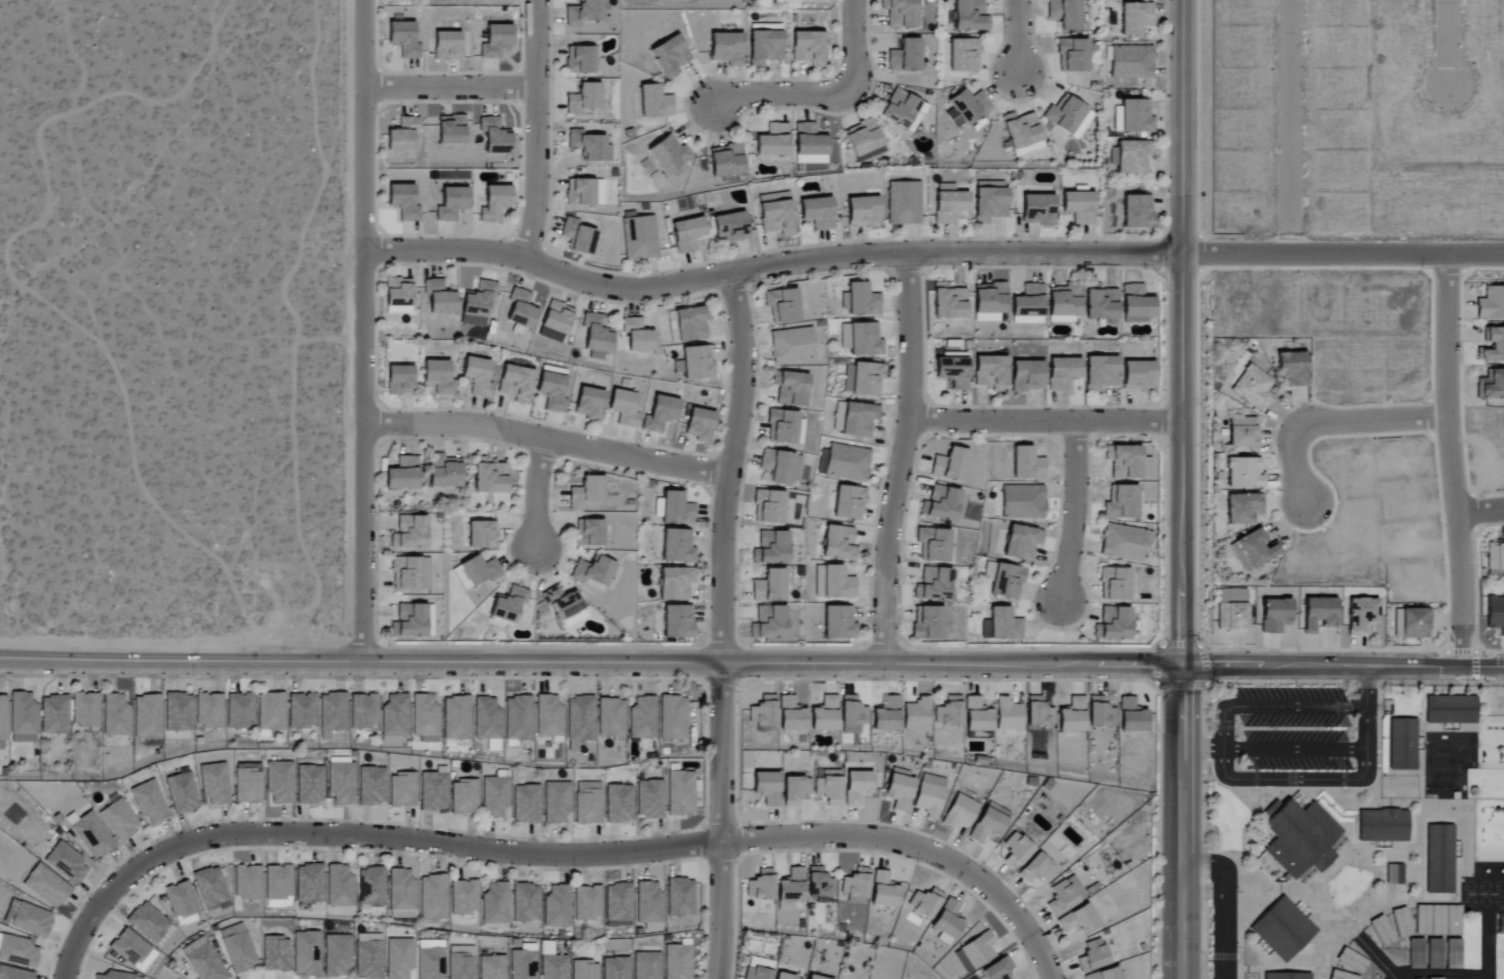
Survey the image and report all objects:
building: (583, 12)
building: (900, 13)
building: (1064, 13)
building: (969, 16)
building: (1134, 18)
road: (1019, 37)
building: (402, 39)
building: (495, 41)
road: (1449, 43)
building: (445, 46)
building: (764, 46)
building: (808, 48)
building: (726, 49)
building: (1072, 56)
building: (669, 57)
building: (904, 57)
building: (579, 60)
building: (1130, 62)
road: (450, 88)
road: (827, 94)
building: (583, 99)
building: (654, 103)
building: (969, 106)
building: (902, 111)
building: (1067, 117)
building: (1135, 117)
building: (954, 119)
road: (1291, 127)
building: (450, 130)
road: (537, 130)
building: (1022, 134)
building: (402, 136)
building: (494, 136)
building: (862, 138)
building: (772, 141)
building: (809, 145)
building: (588, 146)
building: (668, 154)
building: (1130, 157)
building: (725, 161)
building: (583, 192)
building: (989, 201)
building: (402, 202)
building: (493, 203)
building: (451, 204)
building: (903, 204)
building: (948, 204)
building: (1078, 207)
building: (1037, 210)
building: (862, 212)
building: (1137, 212)
building: (817, 213)
building: (776, 214)
building: (729, 228)
building: (686, 235)
building: (577, 237)
building: (638, 238)
road: (1342, 254)
road: (769, 265)
building: (398, 296)
building: (438, 298)
building: (859, 301)
building: (948, 302)
building: (989, 302)
building: (1065, 303)
building: (1491, 304)
building: (476, 305)
building: (1136, 305)
building: (782, 306)
building: (1028, 306)
building: (1101, 306)
building: (520, 309)
building: (556, 321)
building: (690, 325)
road: (365, 330)
road: (1181, 333)
building: (637, 336)
building: (596, 337)
building: (861, 340)
building: (791, 346)
building: (1493, 347)
building: (695, 363)
building: (1293, 369)
building: (952, 371)
building: (990, 373)
building: (1062, 373)
building: (1100, 373)
building: (1027, 376)
building: (437, 377)
building: (476, 377)
building: (1139, 377)
building: (399, 380)
building: (862, 380)
building: (515, 384)
building: (1491, 386)
building: (1255, 388)
building: (552, 389)
building: (790, 389)
building: (588, 404)
building: (623, 408)
building: (660, 414)
building: (853, 419)
road: (1334, 421)
road: (1045, 422)
building: (699, 425)
building: (784, 428)
building: (1243, 433)
road: (549, 440)
road: (901, 458)
road: (1451, 460)
building: (1123, 462)
building: (846, 463)
building: (1027, 465)
road: (733, 466)
building: (949, 466)
building: (780, 467)
building: (443, 472)
building: (1244, 473)
building: (402, 475)
building: (488, 477)
building: (586, 492)
road: (533, 494)
building: (1022, 502)
building: (1121, 503)
building: (848, 504)
building: (940, 504)
building: (768, 508)
building: (1243, 509)
building: (676, 510)
road: (1480, 511)
road: (1074, 513)
building: (587, 533)
building: (409, 534)
building: (481, 536)
building: (1021, 543)
building: (1123, 544)
building: (838, 545)
building: (933, 546)
building: (677, 547)
building: (1256, 548)
building: (771, 550)
building: (1495, 557)
building: (593, 571)
building: (477, 572)
building: (409, 574)
building: (1004, 581)
building: (675, 584)
building: (837, 584)
building: (1114, 585)
building: (933, 586)
building: (769, 587)
building: (508, 606)
building: (565, 607)
building: (1318, 614)
building: (1495, 614)
building: (1274, 616)
building: (1361, 616)
building: (1232, 618)
building: (409, 622)
building: (677, 623)
building: (768, 624)
building: (838, 624)
building: (927, 624)
building: (1397, 624)
building: (1415, 624)
building: (1113, 625)
building: (1001, 626)
road: (1476, 647)
road: (1320, 649)
road: (1159, 652)
road: (590, 661)
road: (1342, 667)
road: (1340, 681)
road: (1291, 706)
building: (84, 710)
building: (208, 710)
building: (301, 710)
building: (239, 711)
building: (363, 711)
building: (762, 711)
building: (949, 711)
building: (1449, 711)
building: (177, 712)
building: (332, 712)
building: (1038, 712)
building: (1100, 712)
building: (270, 713)
building: (824, 714)
building: (852, 714)
building: (917, 714)
building: (1008, 714)
building: (53, 715)
building: (115, 715)
building: (791, 715)
building: (886, 715)
building: (977, 715)
building: (1072, 715)
building: (147, 716)
building: (1131, 716)
building: (611, 717)
building: (673, 717)
building: (22, 718)
building: (424, 718)
building: (456, 718)
building: (518, 718)
building: (549, 718)
building: (579, 718)
building: (642, 718)
building: (487, 721)
building: (2, 723)
building: (1403, 744)
road: (1201, 749)
road: (1294, 749)
road: (1336, 778)
building: (340, 780)
building: (278, 782)
building: (213, 783)
building: (309, 784)
building: (247, 785)
building: (371, 786)
building: (766, 787)
building: (828, 787)
building: (856, 787)
building: (899, 789)
building: (401, 790)
building: (432, 790)
building: (794, 790)
building: (180, 792)
building: (680, 793)
building: (929, 795)
building: (464, 797)
building: (494, 797)
building: (649, 799)
building: (148, 801)
building: (556, 803)
building: (587, 803)
building: (618, 803)
building: (525, 804)
building: (959, 812)
building: (118, 820)
road: (720, 821)
road: (1180, 822)
building: (986, 825)
building: (1382, 826)
road: (357, 833)
building: (90, 835)
building: (1295, 840)
building: (1336, 844)
road: (913, 847)
building: (1015, 850)
building: (1440, 857)
building: (65, 862)
building: (1036, 870)
building: (1394, 874)
building: (246, 882)
building: (308, 883)
building: (819, 883)
building: (277, 885)
building: (760, 885)
building: (45, 886)
building: (339, 886)
building: (371, 886)
building: (856, 886)
building: (209, 887)
building: (401, 890)
building: (883, 890)
building: (1064, 895)
building: (432, 897)
building: (464, 897)
building: (679, 897)
building: (618, 902)
road: (1223, 902)
building: (525, 903)
building: (587, 903)
building: (648, 903)
building: (924, 903)
building: (181, 904)
building: (495, 904)
building: (557, 906)
building: (26, 918)
building: (948, 919)
building: (1078, 919)
building: (1437, 920)
building: (147, 922)
building: (1401, 922)
building: (1282, 929)
building: (1381, 930)
building: (237, 948)
building: (17, 951)
building: (975, 952)
building: (274, 953)
building: (305, 953)
building: (1415, 953)
building: (1434, 953)
building: (1452, 953)
building: (1092, 955)
building: (335, 956)
building: (368, 956)
building: (398, 958)
building: (429, 959)
building: (1351, 959)
building: (203, 960)
building: (460, 962)
building: (522, 962)
building: (677, 962)
building: (552, 964)
building: (646, 966)
building: (491, 967)
building: (615, 968)
building: (998, 969)
building: (584, 970)
building: (756, 972)
building: (14, 974)
building: (1104, 974)
building: (113, 975)
building: (1340, 975)
building: (1286, 976)
building: (785, 977)
building: (813, 977)
road: (1393, 978)
road: (1394, 978)
building: (1434, 978)

